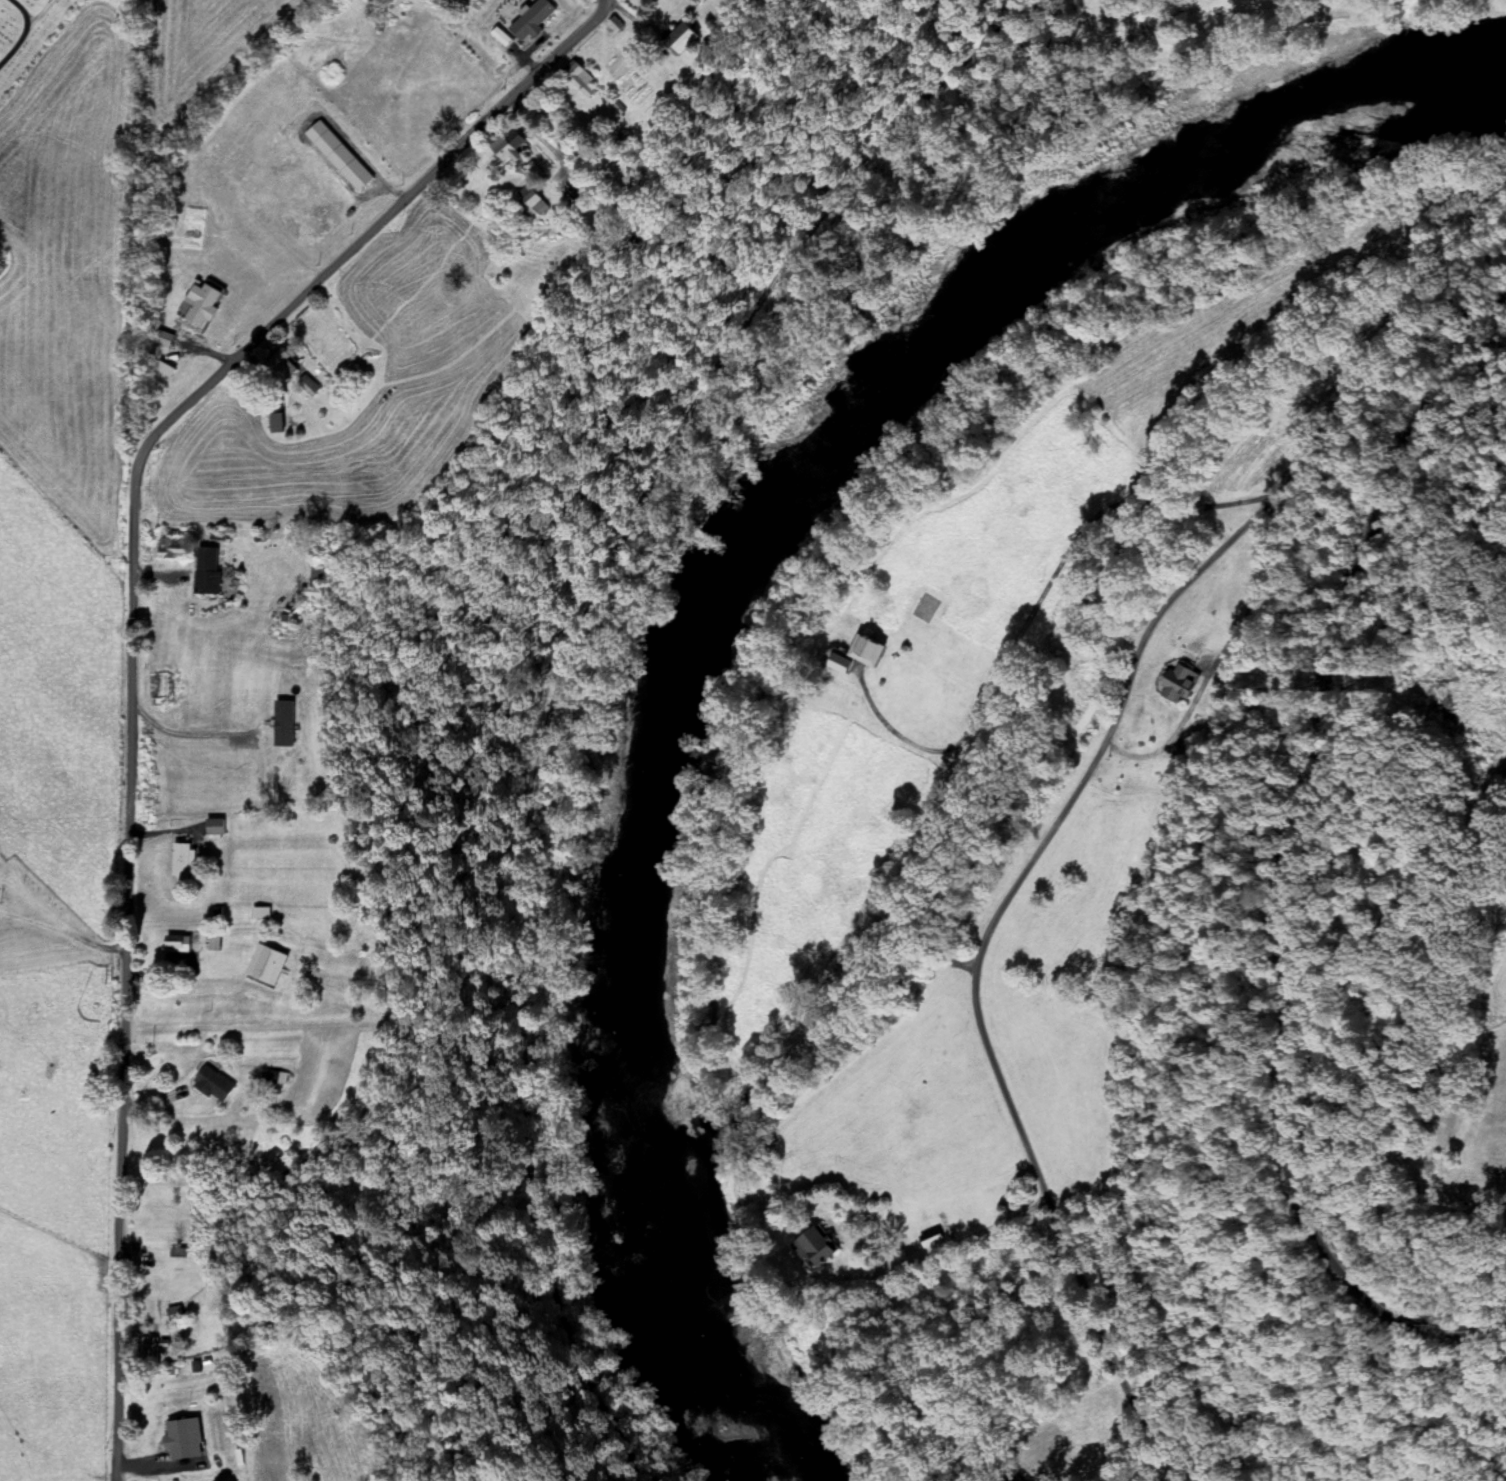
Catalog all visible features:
building: (1128, 0)
road: (21, 10)
building: (403, 14)
building: (518, 22)
road: (24, 30)
park: (25, 33)
building: (653, 49)
building: (560, 88)
building: (492, 153)
building: (333, 157)
building: (559, 202)
road: (364, 225)
building: (197, 306)
building: (275, 366)
building: (161, 369)
building: (300, 384)
building: (161, 397)
building: (267, 423)
building: (202, 577)
building: (305, 577)
river: (733, 581)
building: (863, 651)
road: (561, 678)
building: (1176, 683)
building: (212, 827)
road: (1051, 832)
road: (1297, 863)
building: (179, 864)
building: (181, 943)
road: (118, 966)
building: (268, 1078)
building: (211, 1086)
building: (810, 1249)
building: (148, 1351)
building: (177, 1434)

